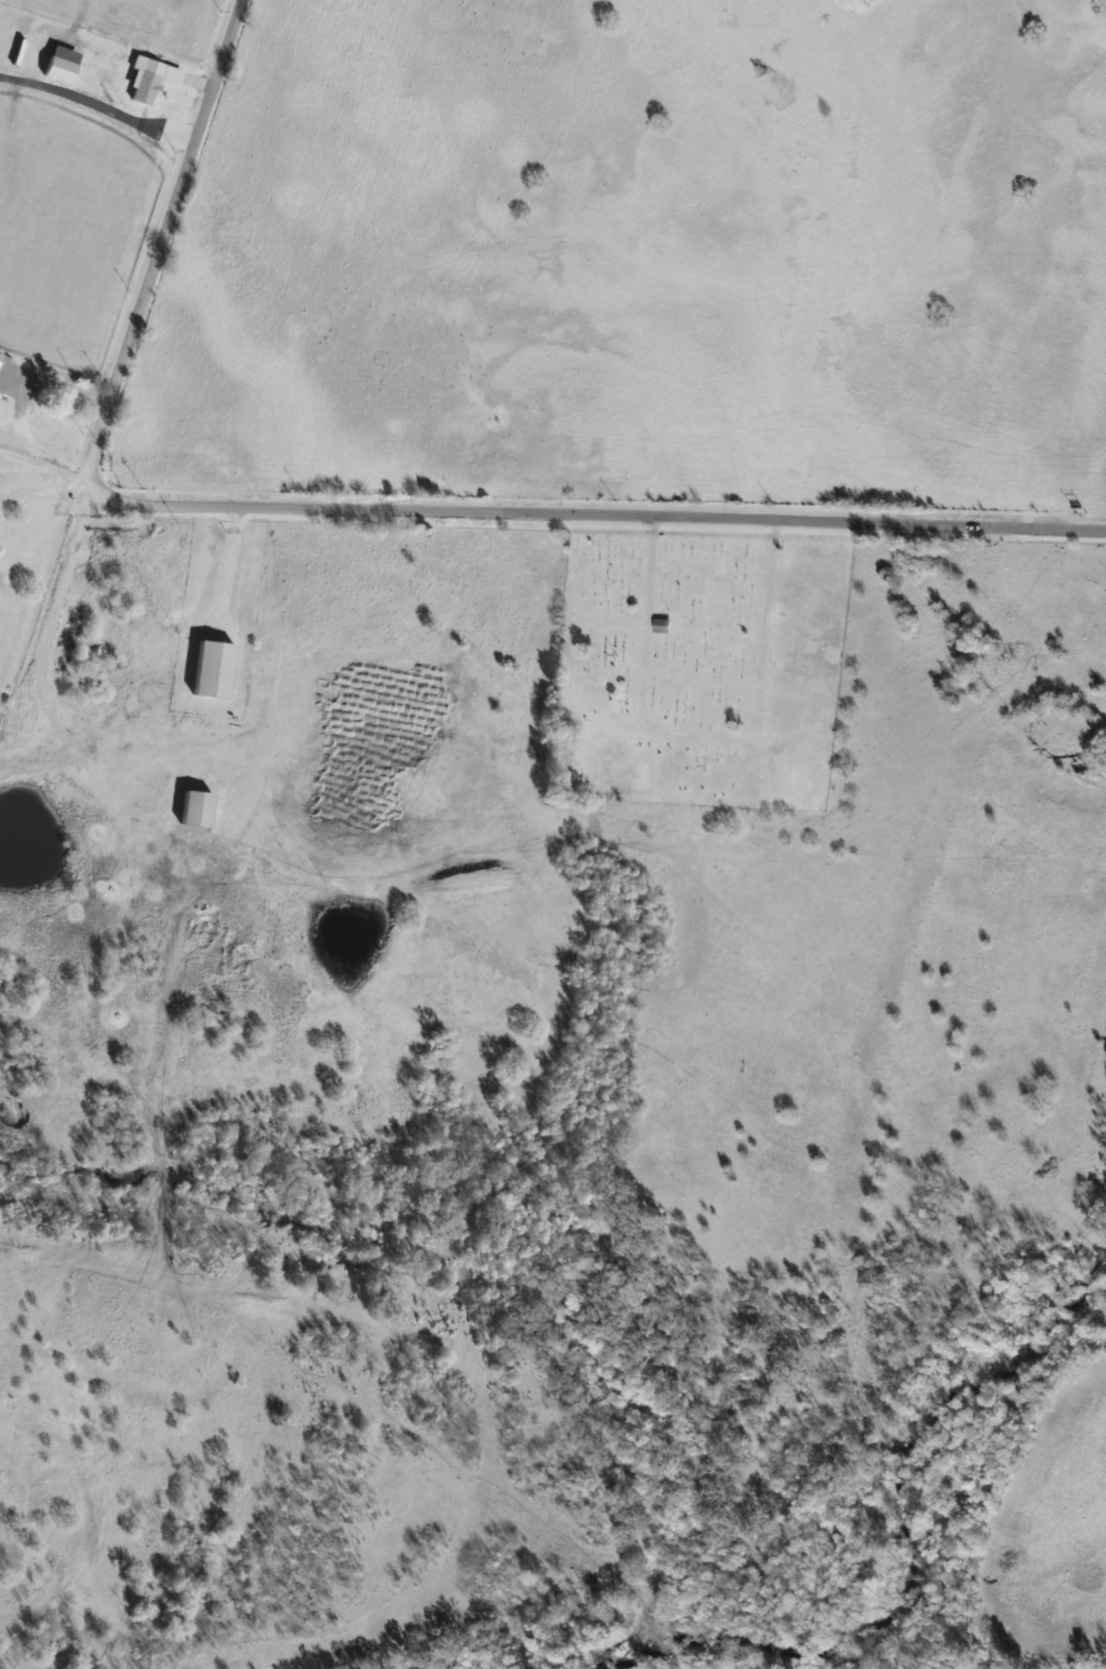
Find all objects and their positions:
building: (59, 70)
building: (150, 79)
road: (138, 307)
road: (13, 402)
road: (46, 487)
road: (667, 517)
road: (219, 560)
building: (663, 626)
park: (698, 669)
building: (213, 670)
building: (196, 808)

